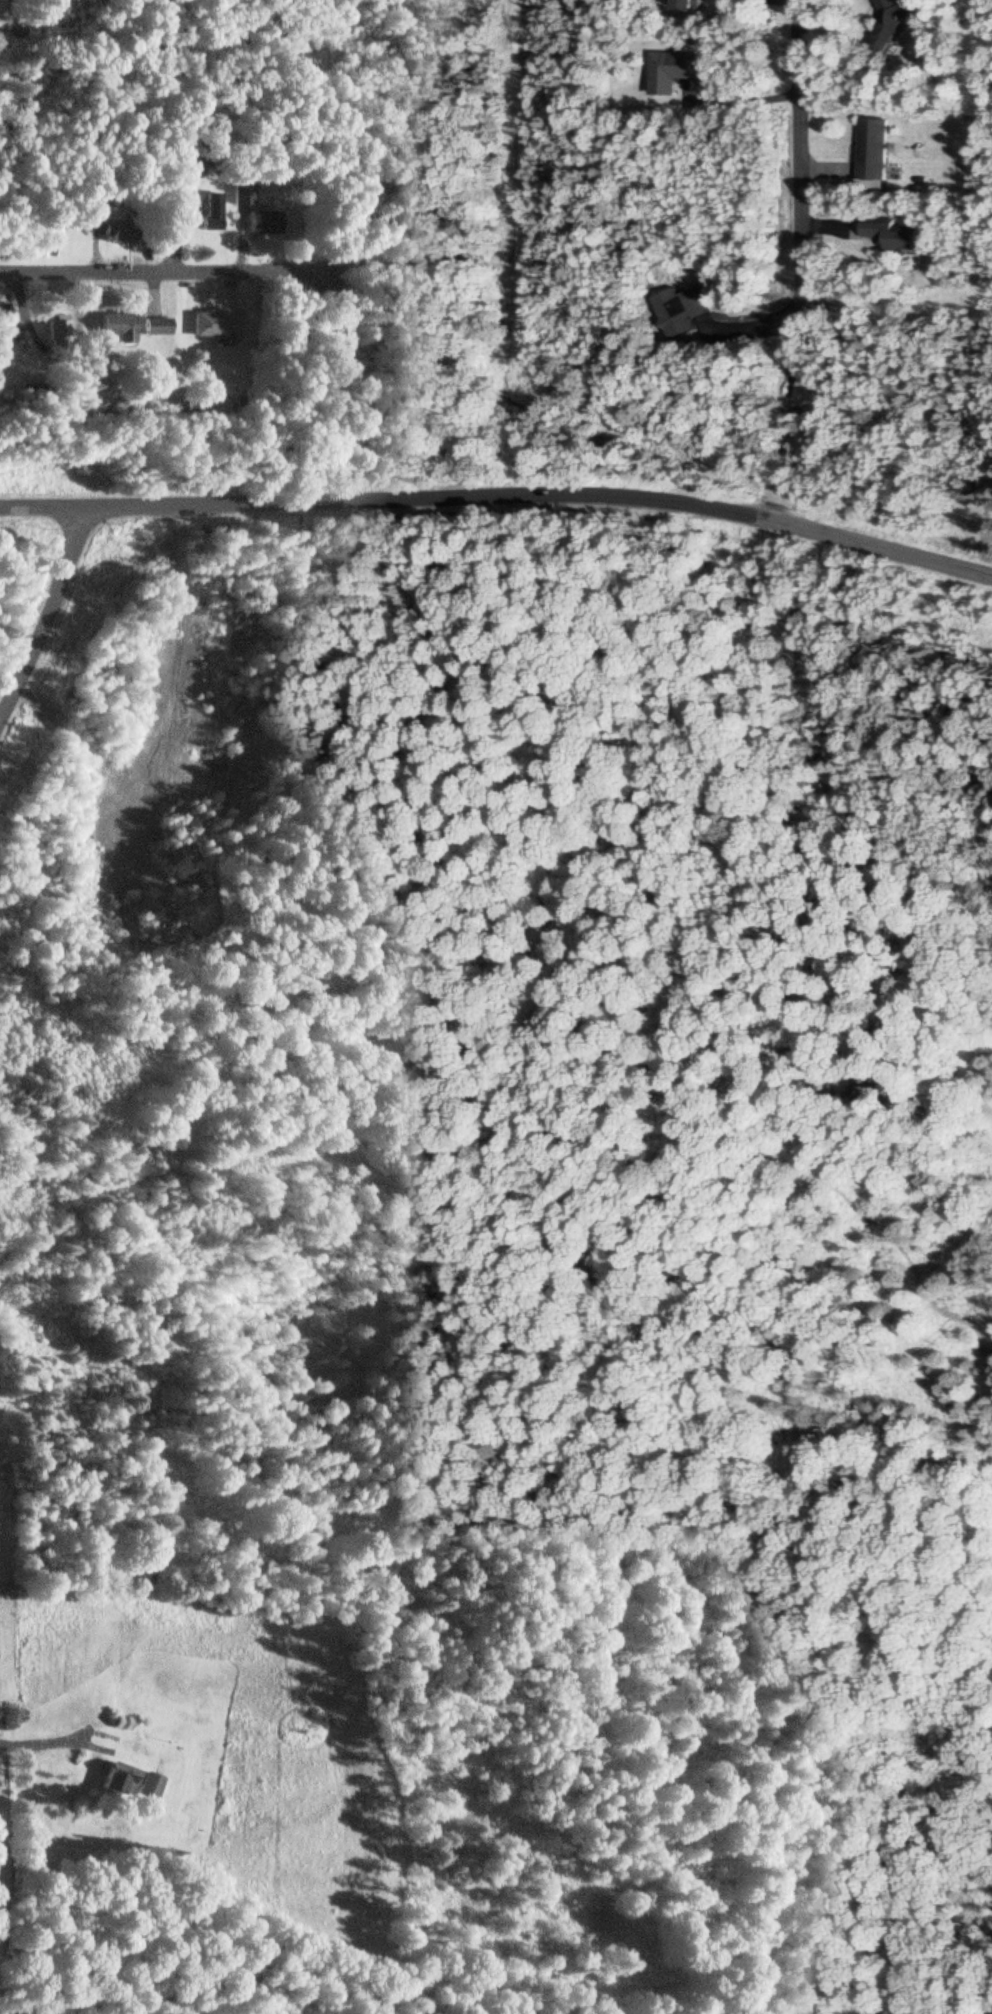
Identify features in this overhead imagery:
building: (690, 5)
building: (895, 18)
building: (672, 72)
road: (801, 148)
building: (873, 151)
building: (239, 197)
building: (207, 214)
building: (259, 224)
building: (107, 231)
building: (891, 238)
road: (130, 274)
building: (676, 312)
building: (211, 326)
building: (152, 328)
building: (111, 329)
building: (54, 334)
building: (814, 389)
road: (500, 493)
road: (48, 618)
building: (132, 1783)

